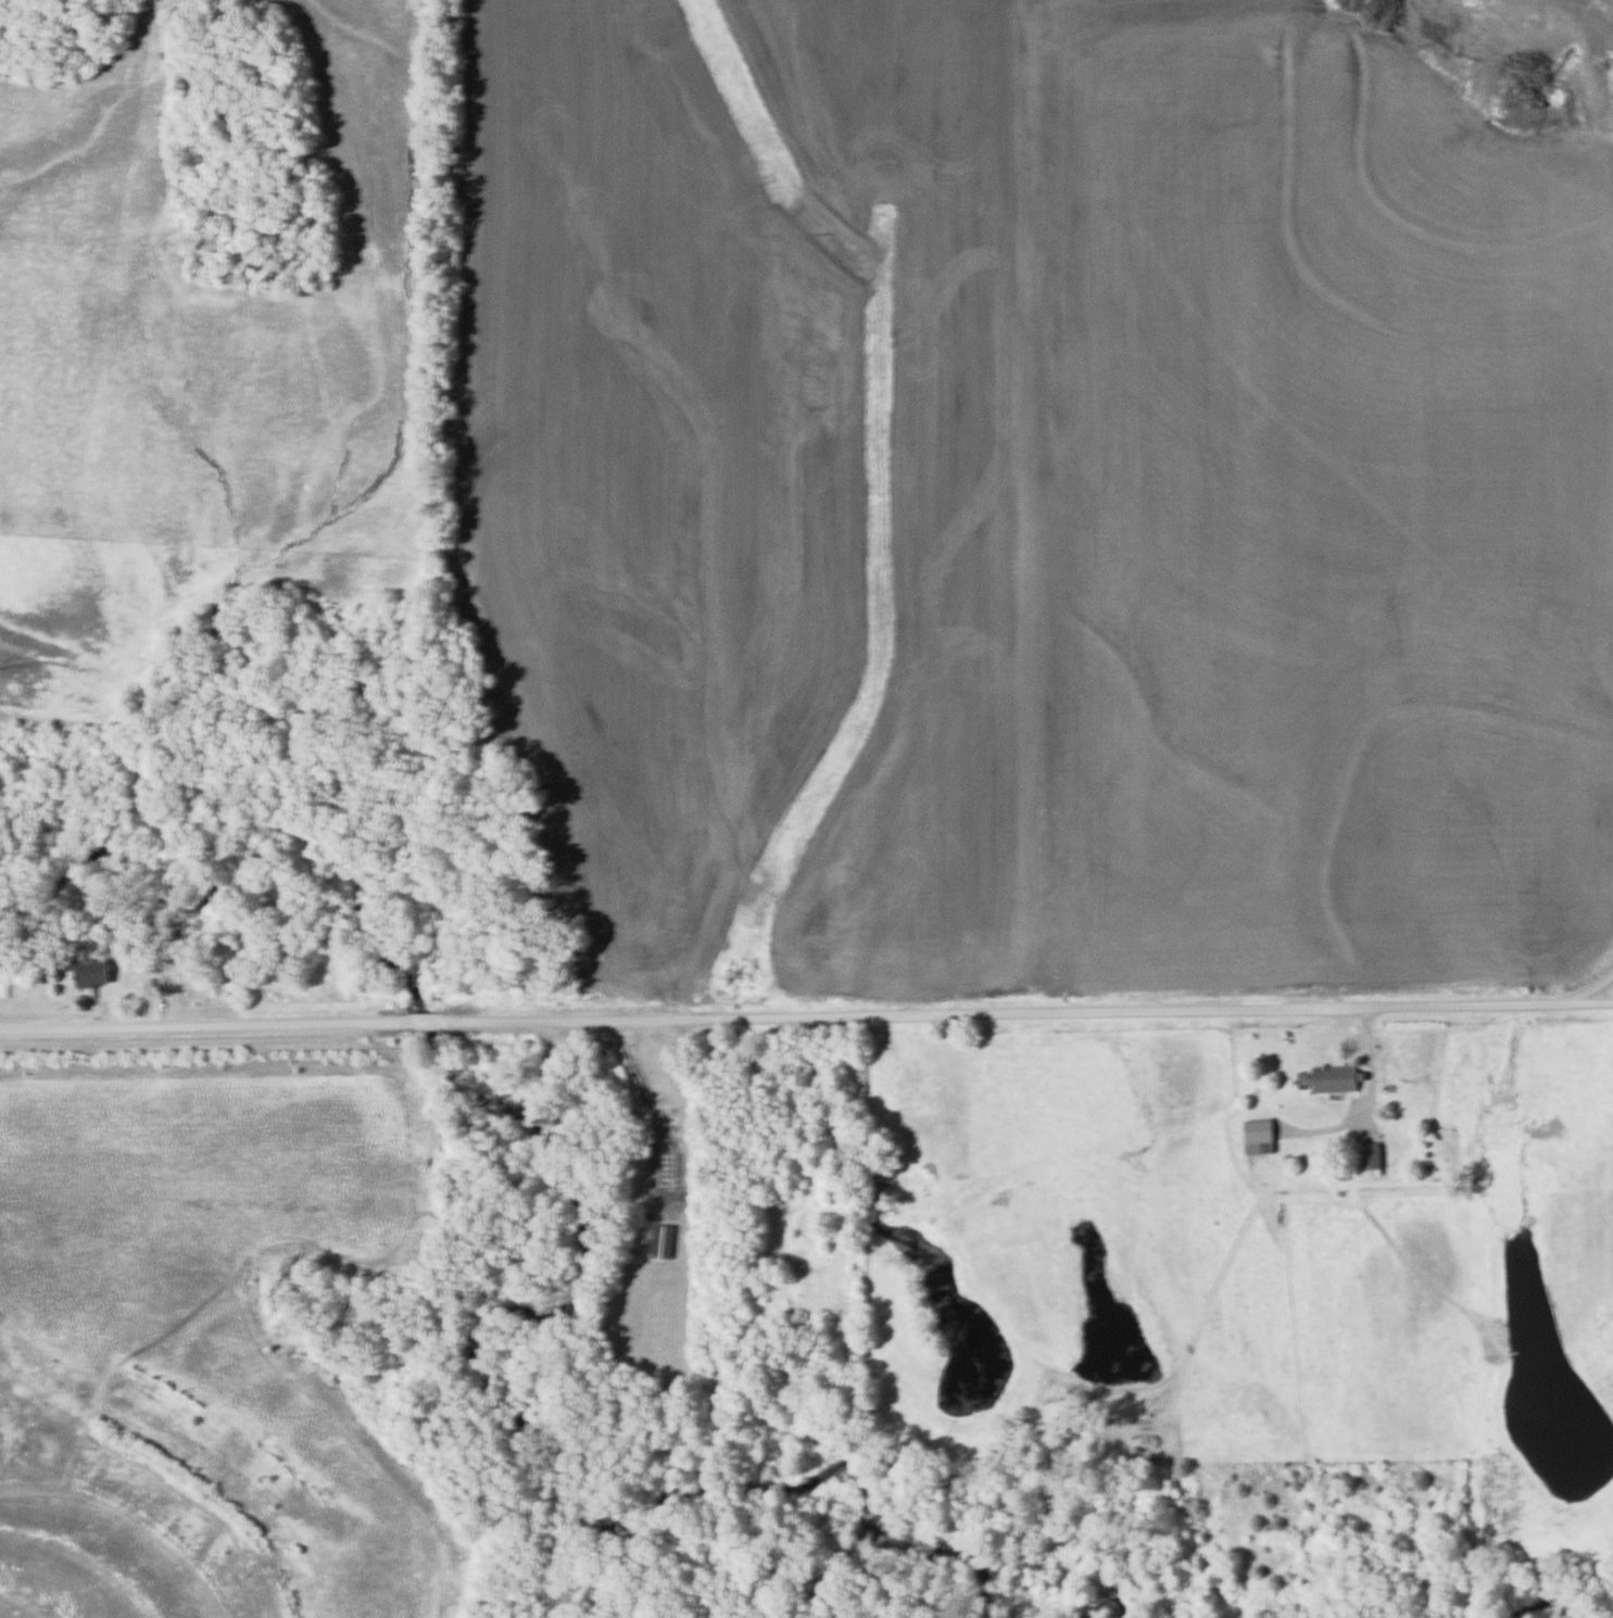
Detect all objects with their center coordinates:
building: (97, 973)
road: (1584, 991)
road: (1612, 1003)
road: (805, 1012)
building: (1328, 1077)
road: (1373, 1092)
road: (679, 1100)
building: (1252, 1136)
building: (1366, 1156)

